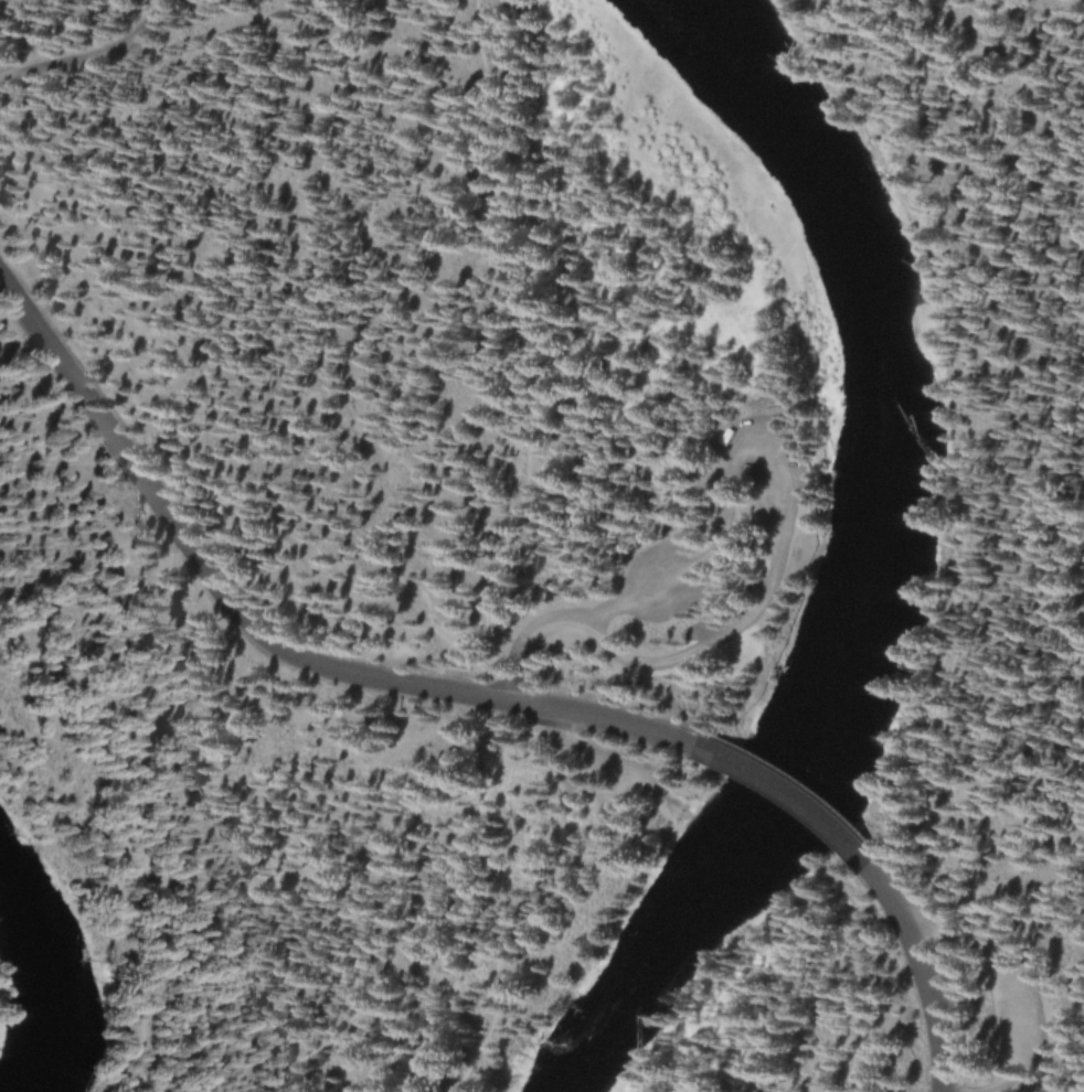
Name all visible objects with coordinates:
road: (145, 45)
road: (94, 60)
road: (1040, 462)
road: (503, 550)
river: (878, 559)
road: (719, 631)
road: (256, 632)
road: (786, 795)
road: (99, 886)
road: (1058, 963)
road: (924, 971)
river: (35, 976)
parking lot: (1008, 998)
road: (1023, 1056)
road: (1050, 1067)

